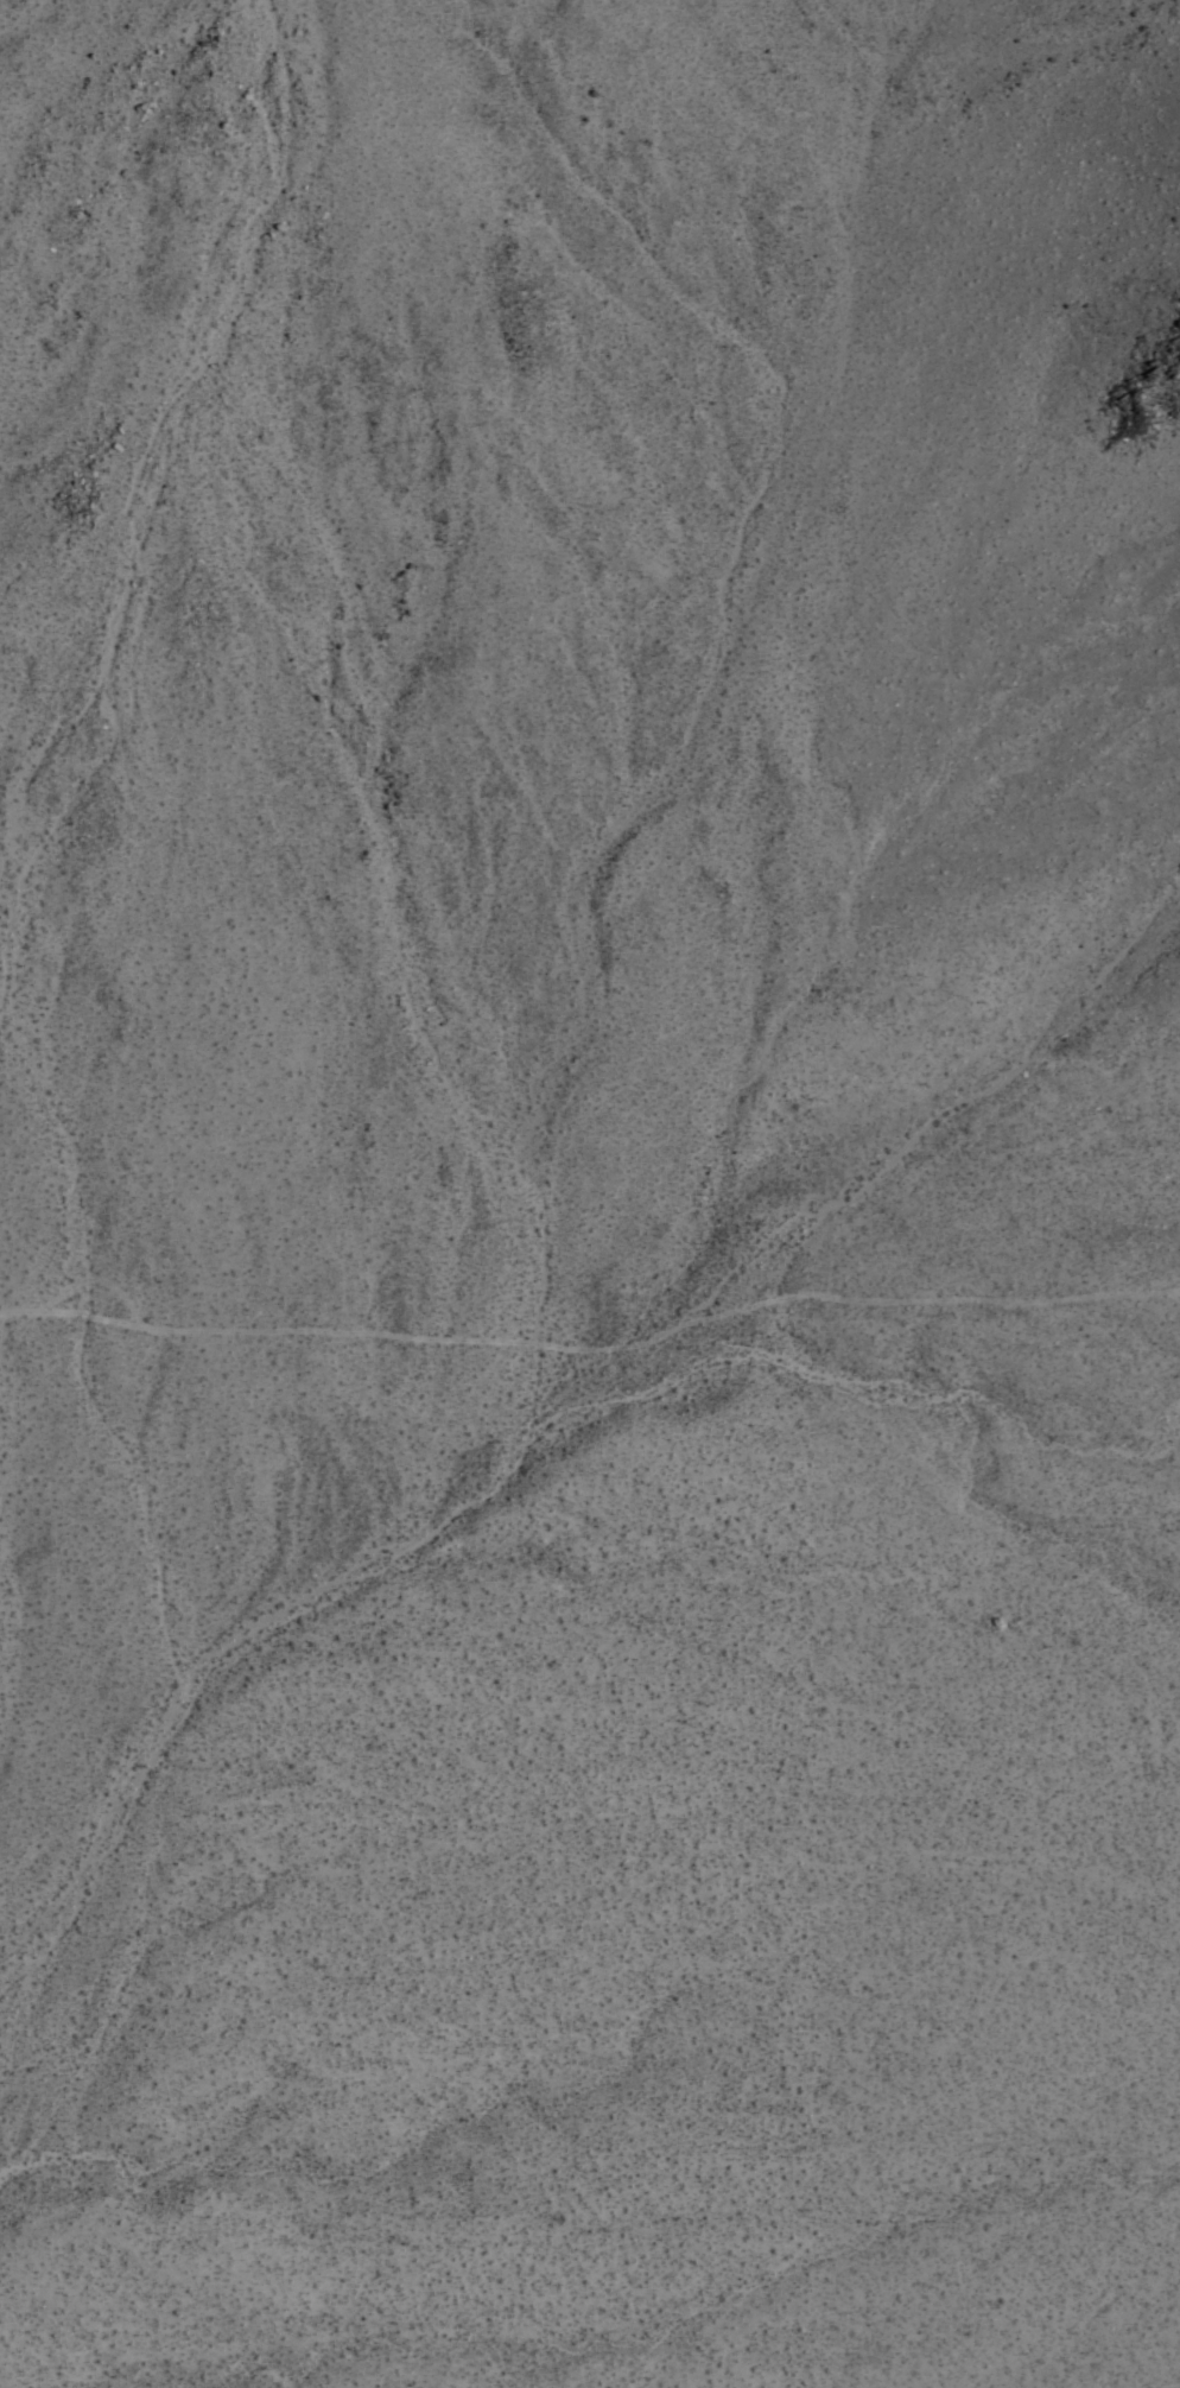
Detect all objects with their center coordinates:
road: (594, 1354)

